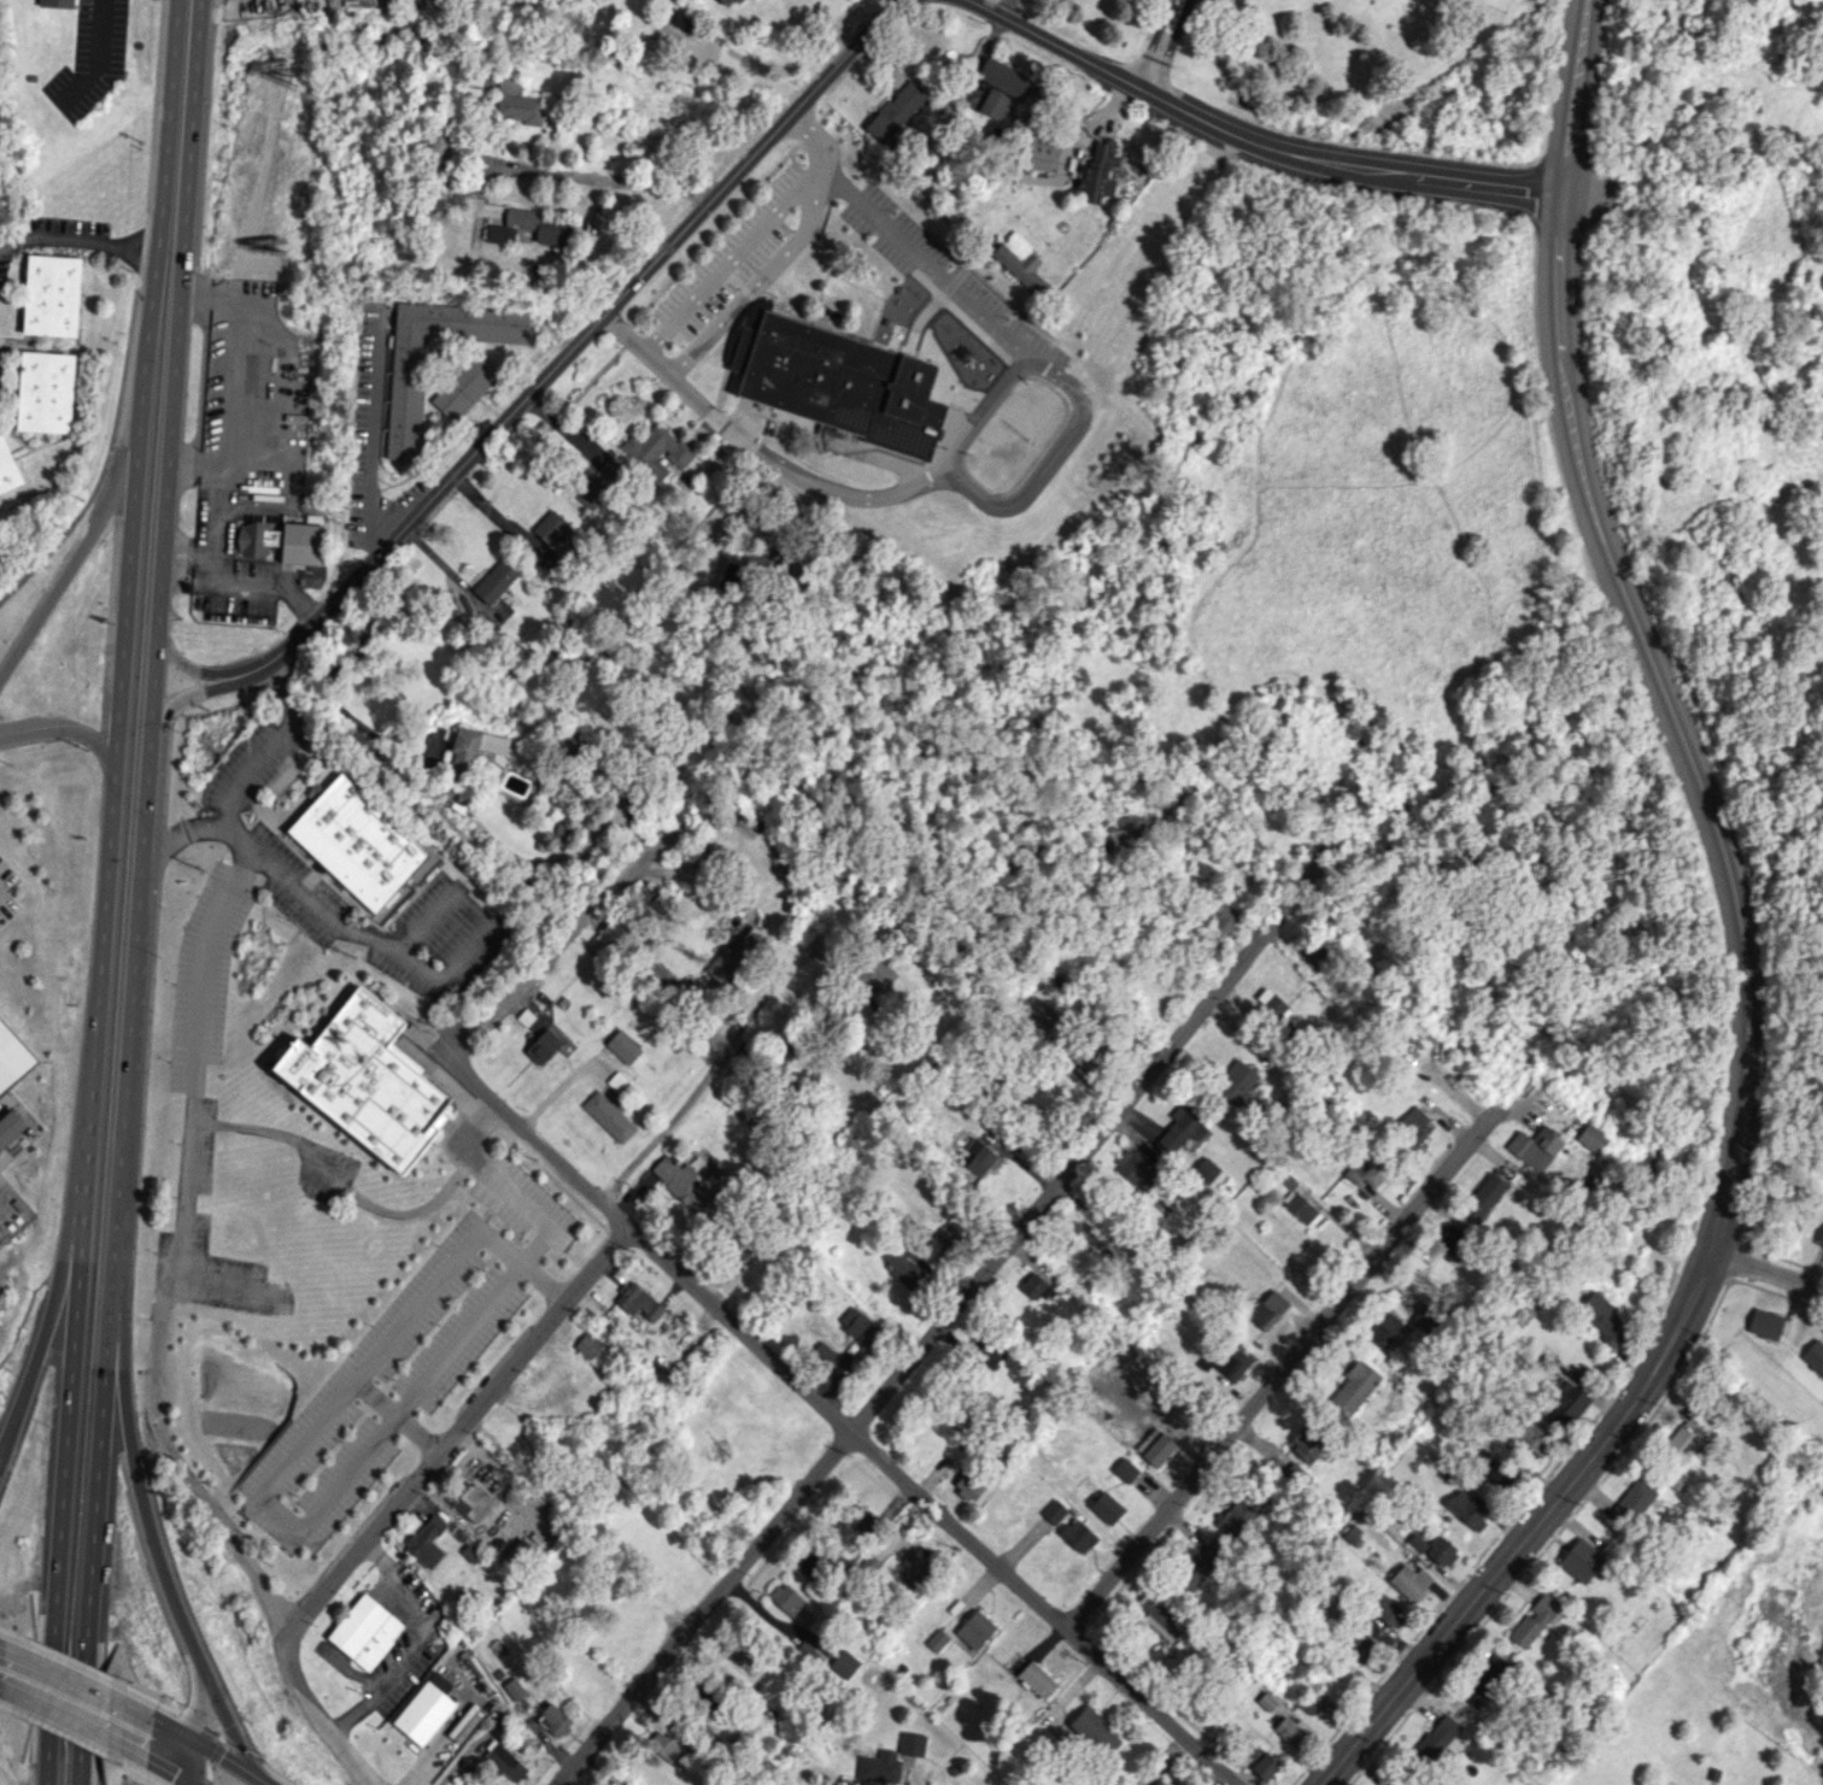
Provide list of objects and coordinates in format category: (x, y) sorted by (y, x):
building: (55, 2)
building: (729, 2)
building: (670, 27)
road: (1165, 45)
road: (98, 57)
park: (1377, 61)
road: (746, 69)
building: (1001, 76)
road: (1577, 95)
building: (516, 102)
building: (993, 104)
building: (895, 111)
road: (1254, 141)
building: (1039, 151)
building: (1100, 170)
road: (591, 176)
building: (528, 228)
road: (751, 235)
road: (75, 242)
road: (918, 256)
building: (1021, 268)
road: (758, 278)
building: (51, 294)
road: (565, 357)
building: (843, 381)
building: (464, 386)
building: (43, 392)
road: (692, 399)
building: (405, 400)
road: (985, 405)
road: (371, 431)
building: (657, 452)
road: (1044, 463)
building: (7, 469)
building: (599, 483)
road: (868, 494)
building: (551, 527)
building: (256, 539)
building: (300, 544)
road: (80, 546)
building: (496, 580)
road: (176, 667)
road: (327, 689)
road: (175, 700)
road: (1678, 716)
road: (68, 730)
road: (268, 746)
building: (461, 764)
road: (180, 834)
building: (356, 842)
road: (105, 892)
road: (140, 892)
building: (1221, 920)
road: (330, 922)
building: (605, 936)
road: (557, 949)
building: (1313, 950)
building: (734, 957)
building: (873, 976)
building: (1271, 1005)
building: (1039, 1016)
building: (543, 1046)
building: (622, 1046)
building: (1086, 1050)
building: (12, 1058)
building: (364, 1080)
building: (616, 1081)
building: (1236, 1082)
road: (688, 1096)
building: (609, 1115)
building: (1411, 1126)
building: (8, 1127)
building: (1590, 1138)
building: (1188, 1140)
building: (1534, 1147)
building: (979, 1157)
building: (1135, 1167)
building: (1365, 1169)
road: (504, 1182)
building: (682, 1182)
building: (1483, 1197)
building: (1299, 1208)
building: (1089, 1233)
road: (182, 1237)
building: (1819, 1239)
building: (939, 1241)
building: (1447, 1241)
building: (739, 1246)
building: (902, 1268)
road: (1766, 1268)
building: (1033, 1286)
building: (638, 1300)
building: (1267, 1309)
building: (1601, 1317)
building: (1764, 1323)
building: (857, 1325)
road: (939, 1325)
building: (1384, 1329)
road: (43, 1334)
road: (461, 1337)
building: (587, 1345)
building: (822, 1352)
building: (990, 1355)
building: (1813, 1356)
building: (1232, 1362)
road: (1278, 1369)
building: (1352, 1390)
building: (1563, 1405)
road: (832, 1415)
road: (453, 1425)
building: (1530, 1437)
building: (1684, 1438)
building: (1305, 1444)
building: (1156, 1449)
building: (1125, 1469)
building: (1491, 1469)
building: (967, 1487)
building: (469, 1499)
building: (1633, 1502)
road: (143, 1505)
building: (1104, 1507)
building: (1465, 1509)
building: (1053, 1511)
building: (1235, 1517)
building: (860, 1520)
road: (1532, 1526)
building: (1077, 1534)
building: (1352, 1534)
building: (426, 1540)
building: (1415, 1543)
building: (1440, 1551)
building: (1579, 1560)
building: (919, 1562)
building: (810, 1566)
building: (1196, 1568)
building: (1408, 1580)
building: (785, 1599)
building: (1387, 1610)
building: (1161, 1617)
building: (1532, 1620)
building: (975, 1627)
building: (364, 1631)
building: (937, 1640)
building: (1358, 1640)
road: (4, 1648)
building: (814, 1648)
building: (744, 1656)
building: (843, 1663)
road: (68, 1674)
building: (1036, 1679)
building: (1487, 1679)
building: (514, 1689)
road: (2, 1690)
building: (703, 1697)
building: (1265, 1701)
building: (1308, 1703)
building: (424, 1709)
road: (315, 1711)
road: (65, 1718)
building: (553, 1720)
road: (164, 1724)
road: (209, 1727)
building: (1091, 1730)
building: (1289, 1731)
road: (233, 1733)
building: (1435, 1739)
building: (911, 1744)
building: (663, 1745)
traffic signals: (216, 1754)
road: (189, 1757)
building: (502, 1761)
road: (157, 1763)
road: (176, 1763)
road: (234, 1765)
building: (1264, 1766)
traffic signals: (162, 1767)
building: (878, 1767)
road: (193, 1783)
building: (1160, 1783)

